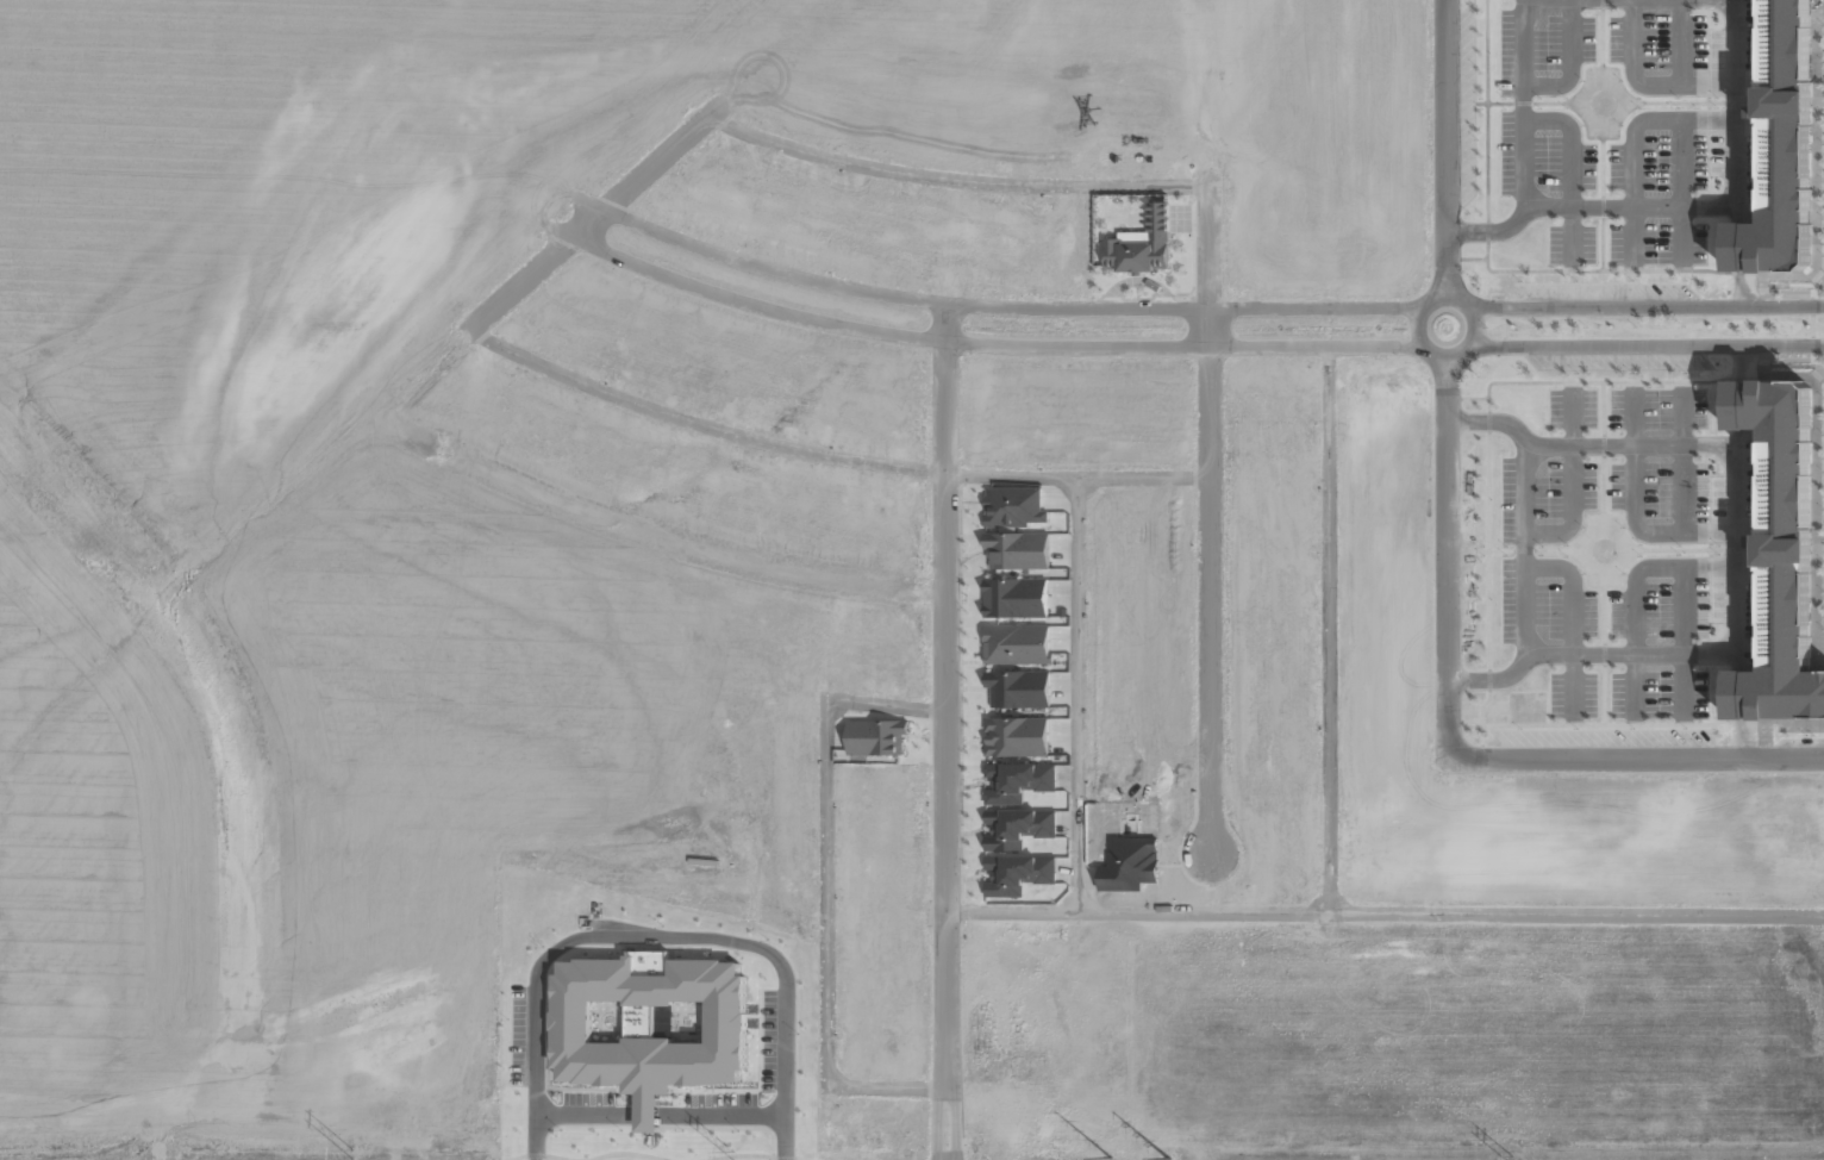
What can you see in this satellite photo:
road: (1570, 63)
road: (1644, 86)
road: (1736, 102)
road: (1524, 106)
road: (1632, 142)
road: (1572, 144)
road: (1445, 148)
building: (1780, 148)
road: (1681, 152)
road: (661, 155)
road: (950, 180)
road: (588, 222)
road: (1572, 232)
road: (1684, 233)
building: (1141, 244)
road: (1008, 307)
road: (1643, 307)
road: (992, 344)
road: (1645, 345)
road: (1449, 357)
road: (371, 411)
road: (827, 455)
building: (1013, 506)
road: (1207, 510)
road: (649, 535)
building: (1018, 550)
building: (1780, 554)
road: (1448, 559)
building: (1016, 598)
road: (1329, 629)
building: (1017, 643)
building: (1018, 688)
road: (1076, 694)
road: (886, 706)
road: (948, 731)
building: (1017, 736)
building: (876, 737)
road: (1636, 759)
building: (1018, 781)
building: (1018, 828)
building: (1018, 873)
road: (826, 892)
road: (1386, 912)
building: (650, 1025)
road: (887, 1087)
power tower: (352, 1154)
power tower: (760, 1155)
power tower: (1168, 1158)
power tower: (1512, 1158)

